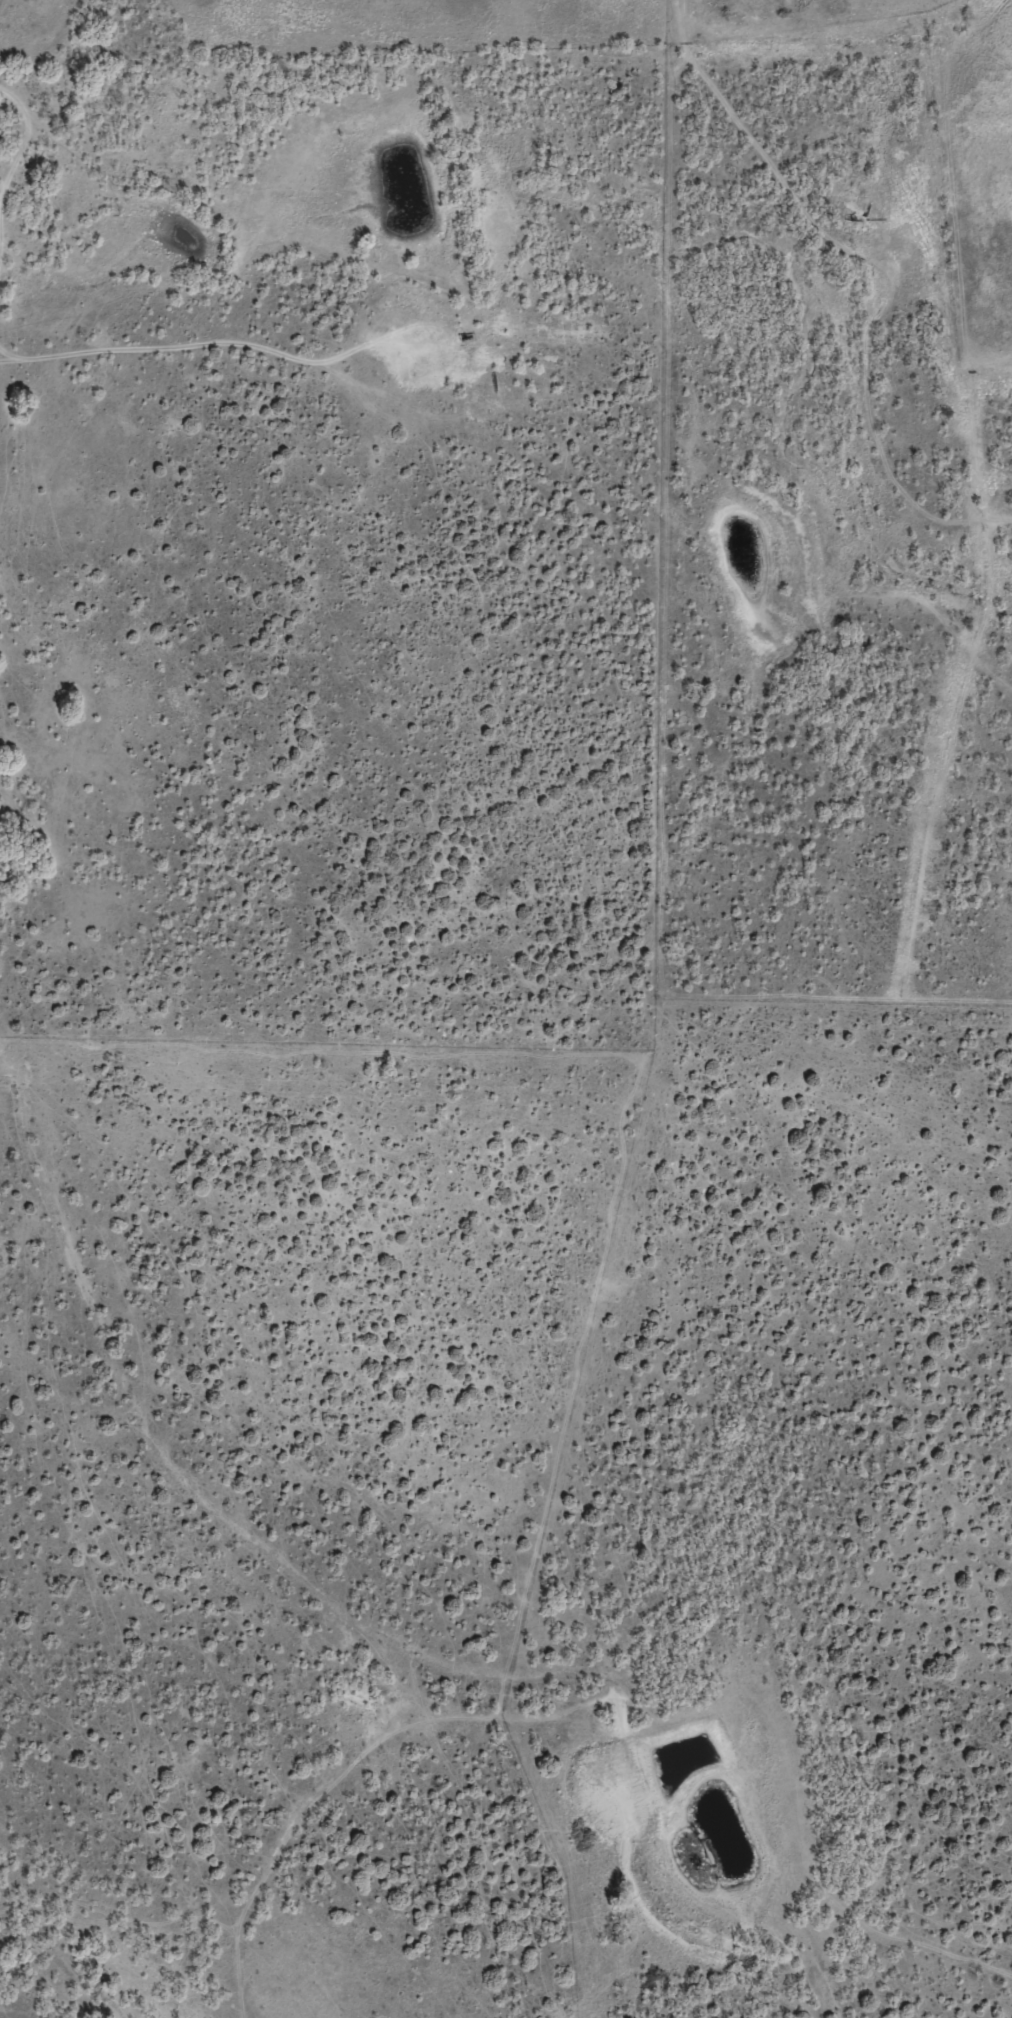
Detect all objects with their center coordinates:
road: (16, 160)

